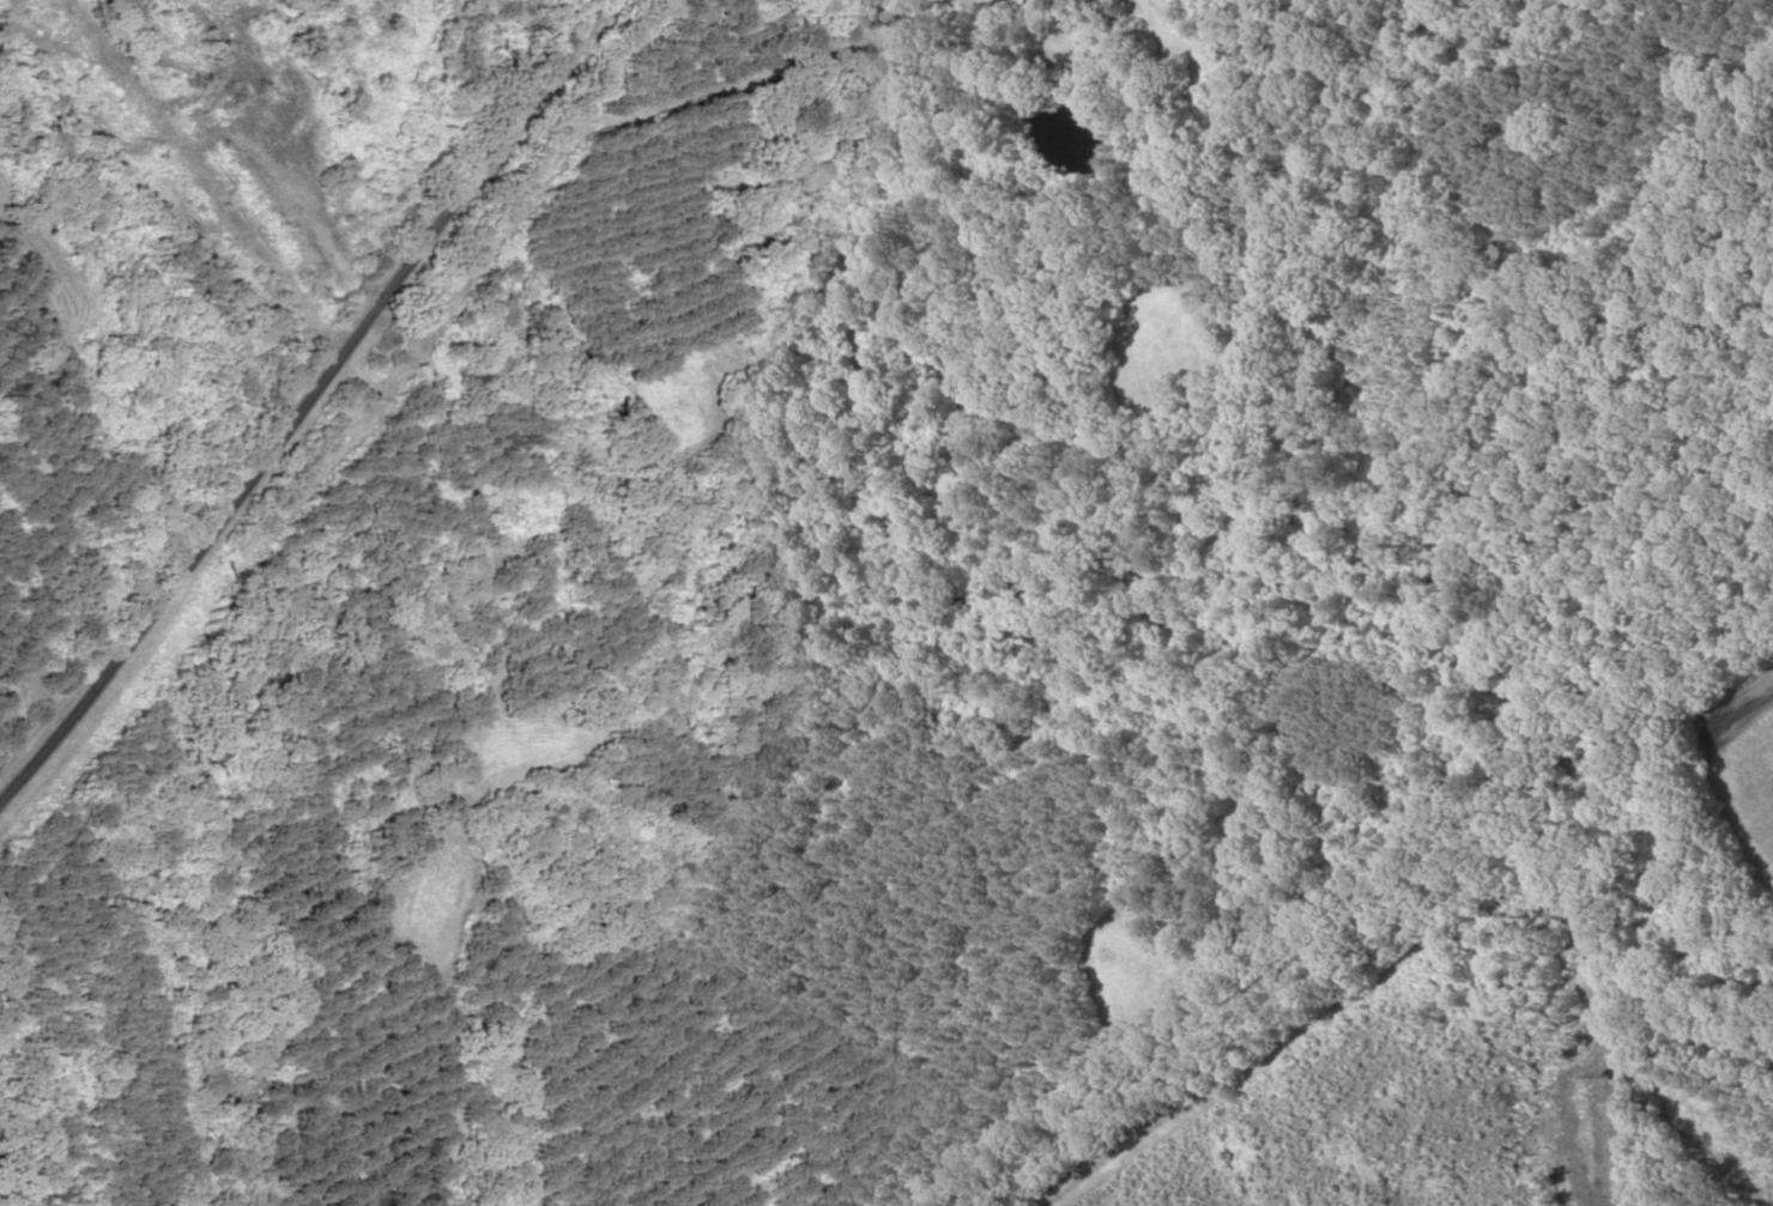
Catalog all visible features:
road: (314, 401)

